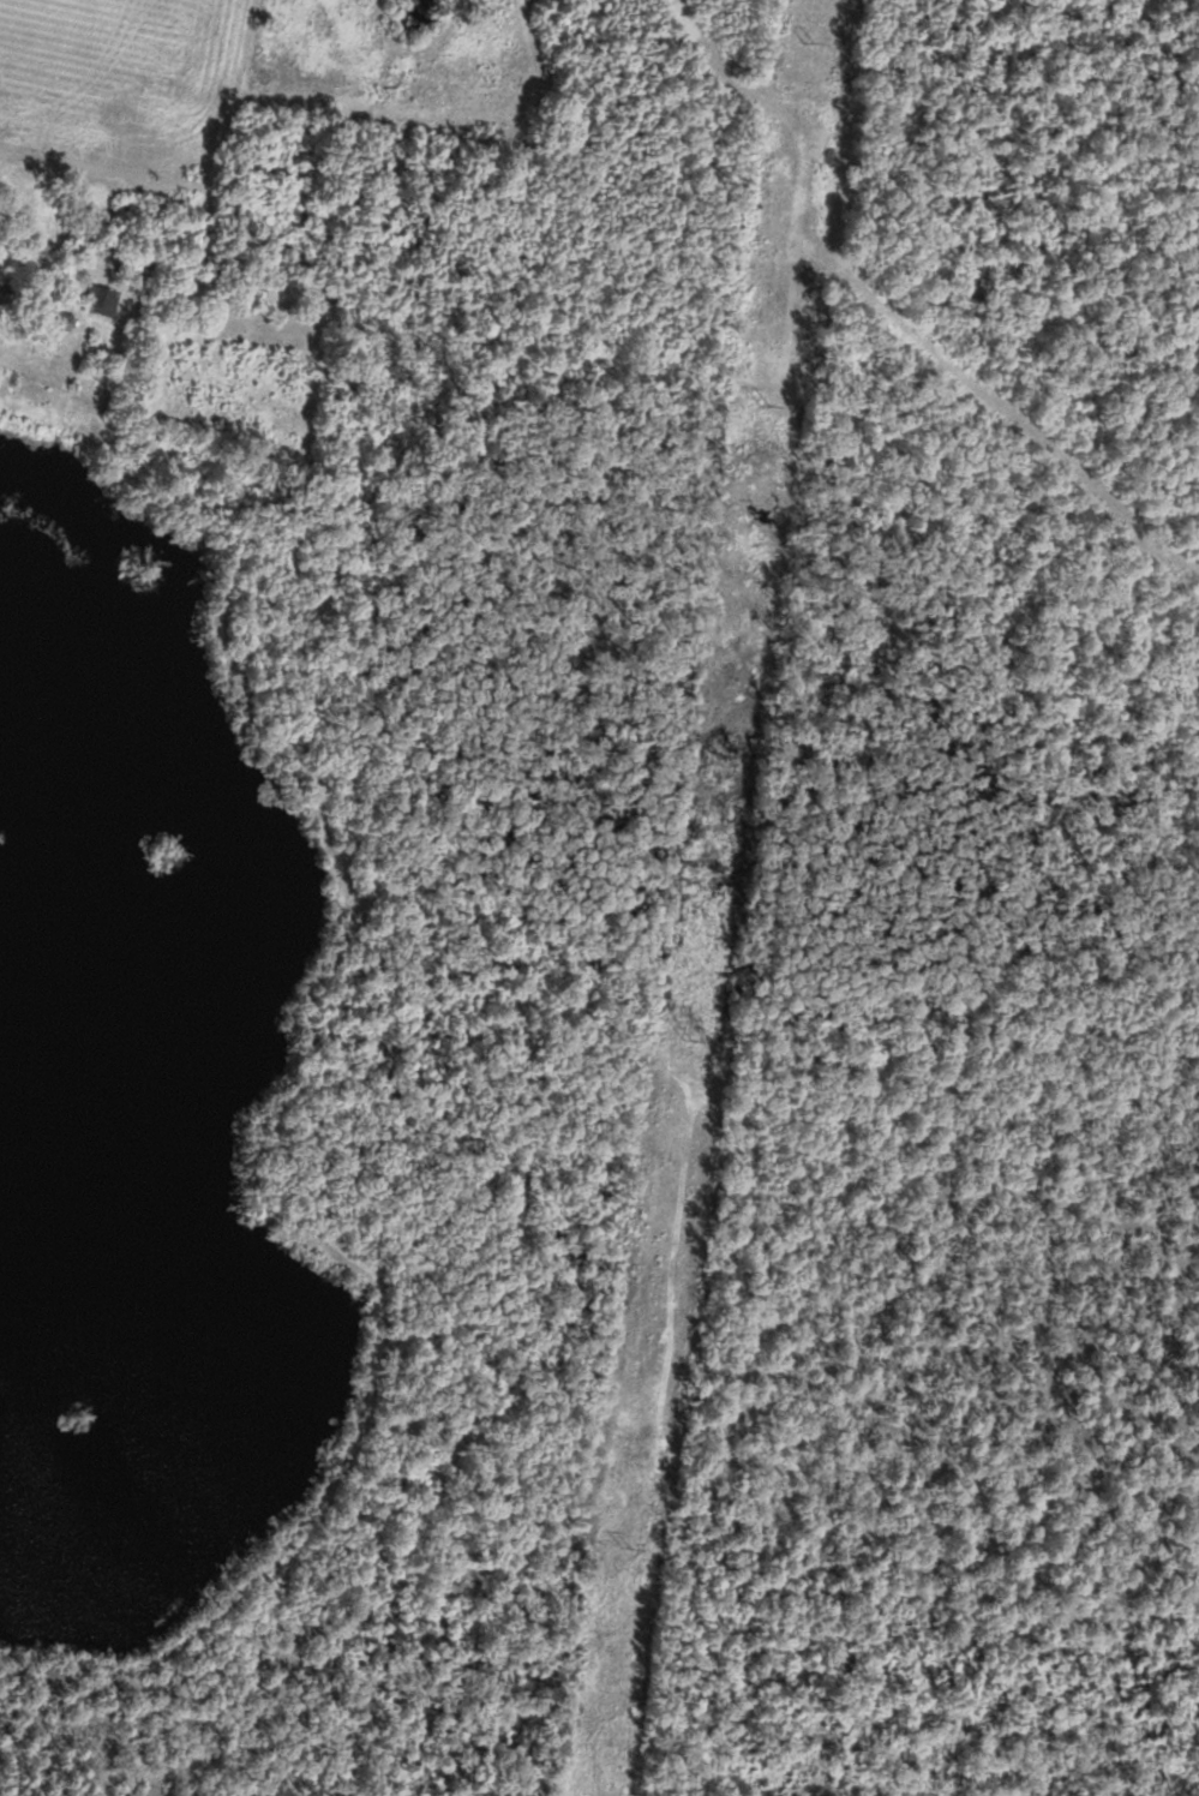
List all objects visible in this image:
power tower: (819, 37)
building: (90, 247)
road: (53, 250)
building: (143, 269)
building: (97, 303)
building: (59, 322)
power tower: (772, 402)
power tower: (691, 1043)
road: (266, 1144)
power tower: (630, 1545)

